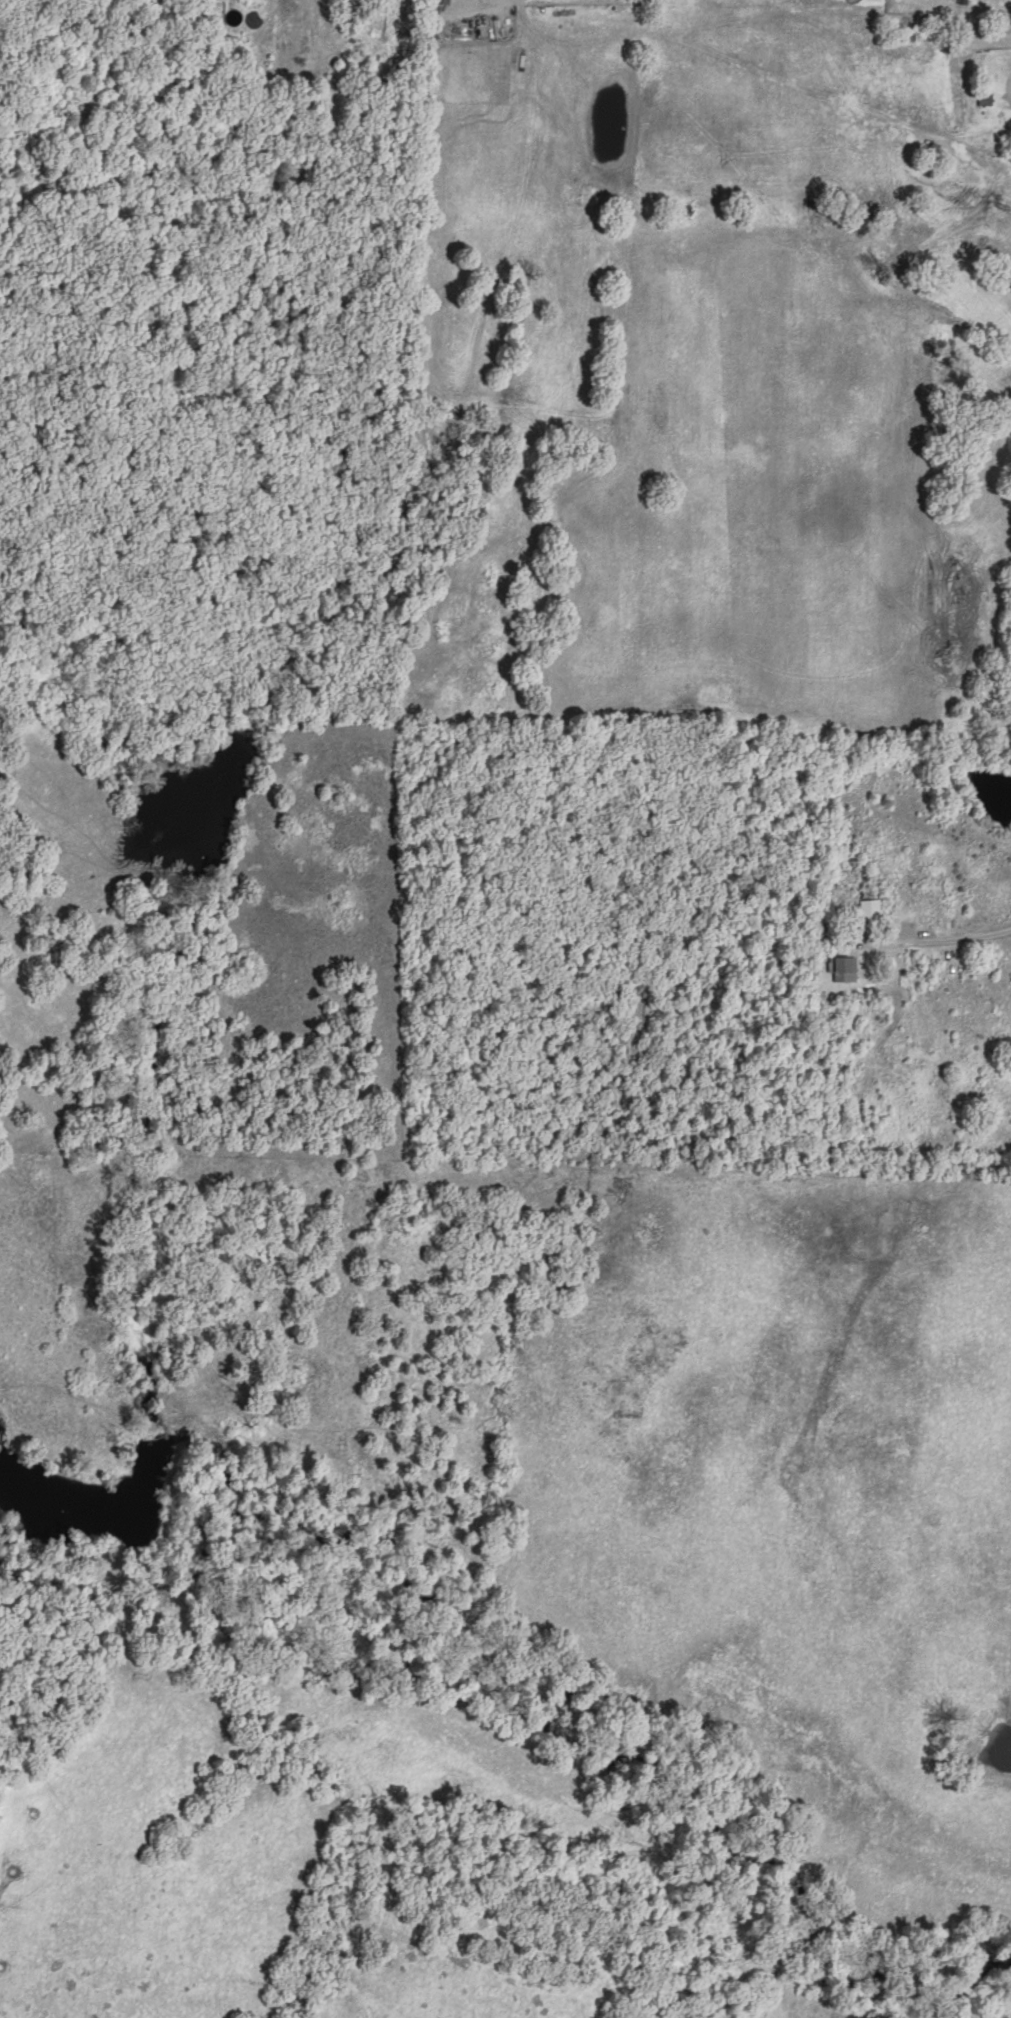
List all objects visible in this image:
building: (440, 0)
building: (986, 95)
building: (871, 906)
road: (929, 942)
building: (845, 961)

